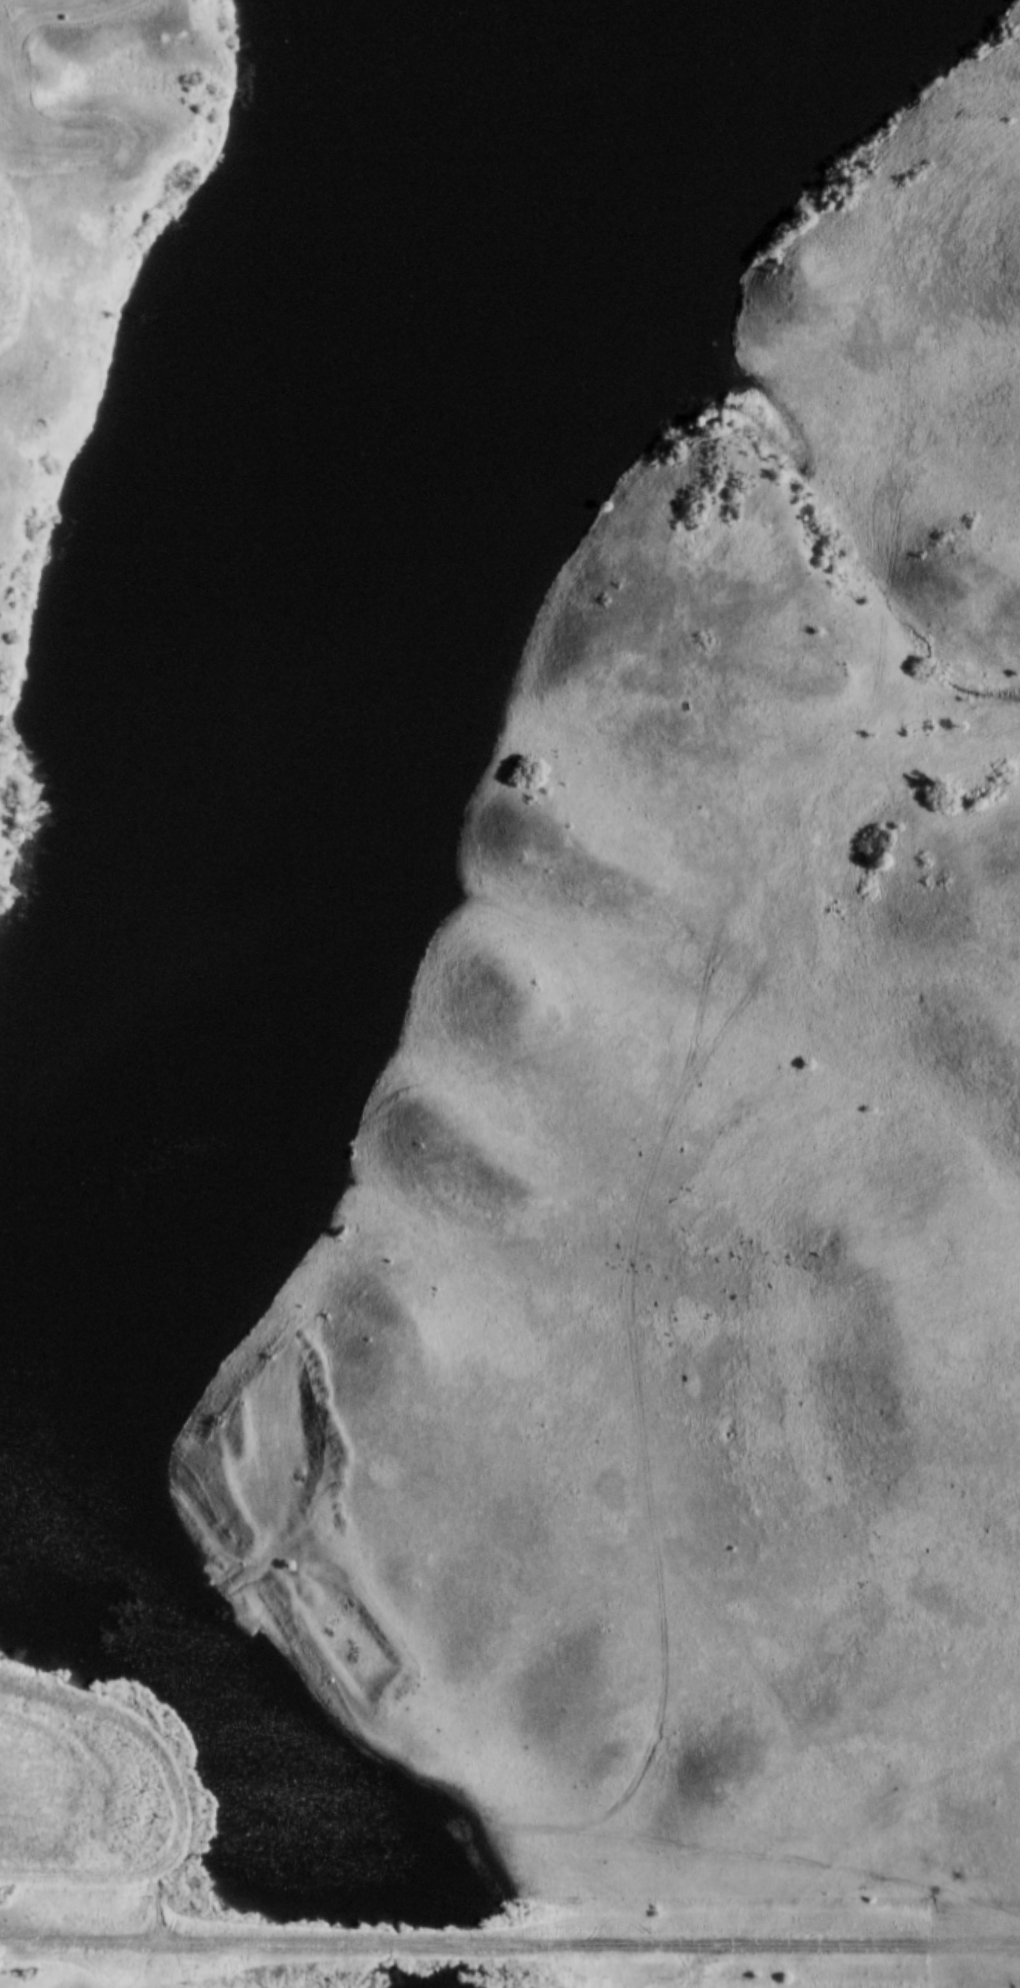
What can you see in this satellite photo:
road: (510, 1943)

